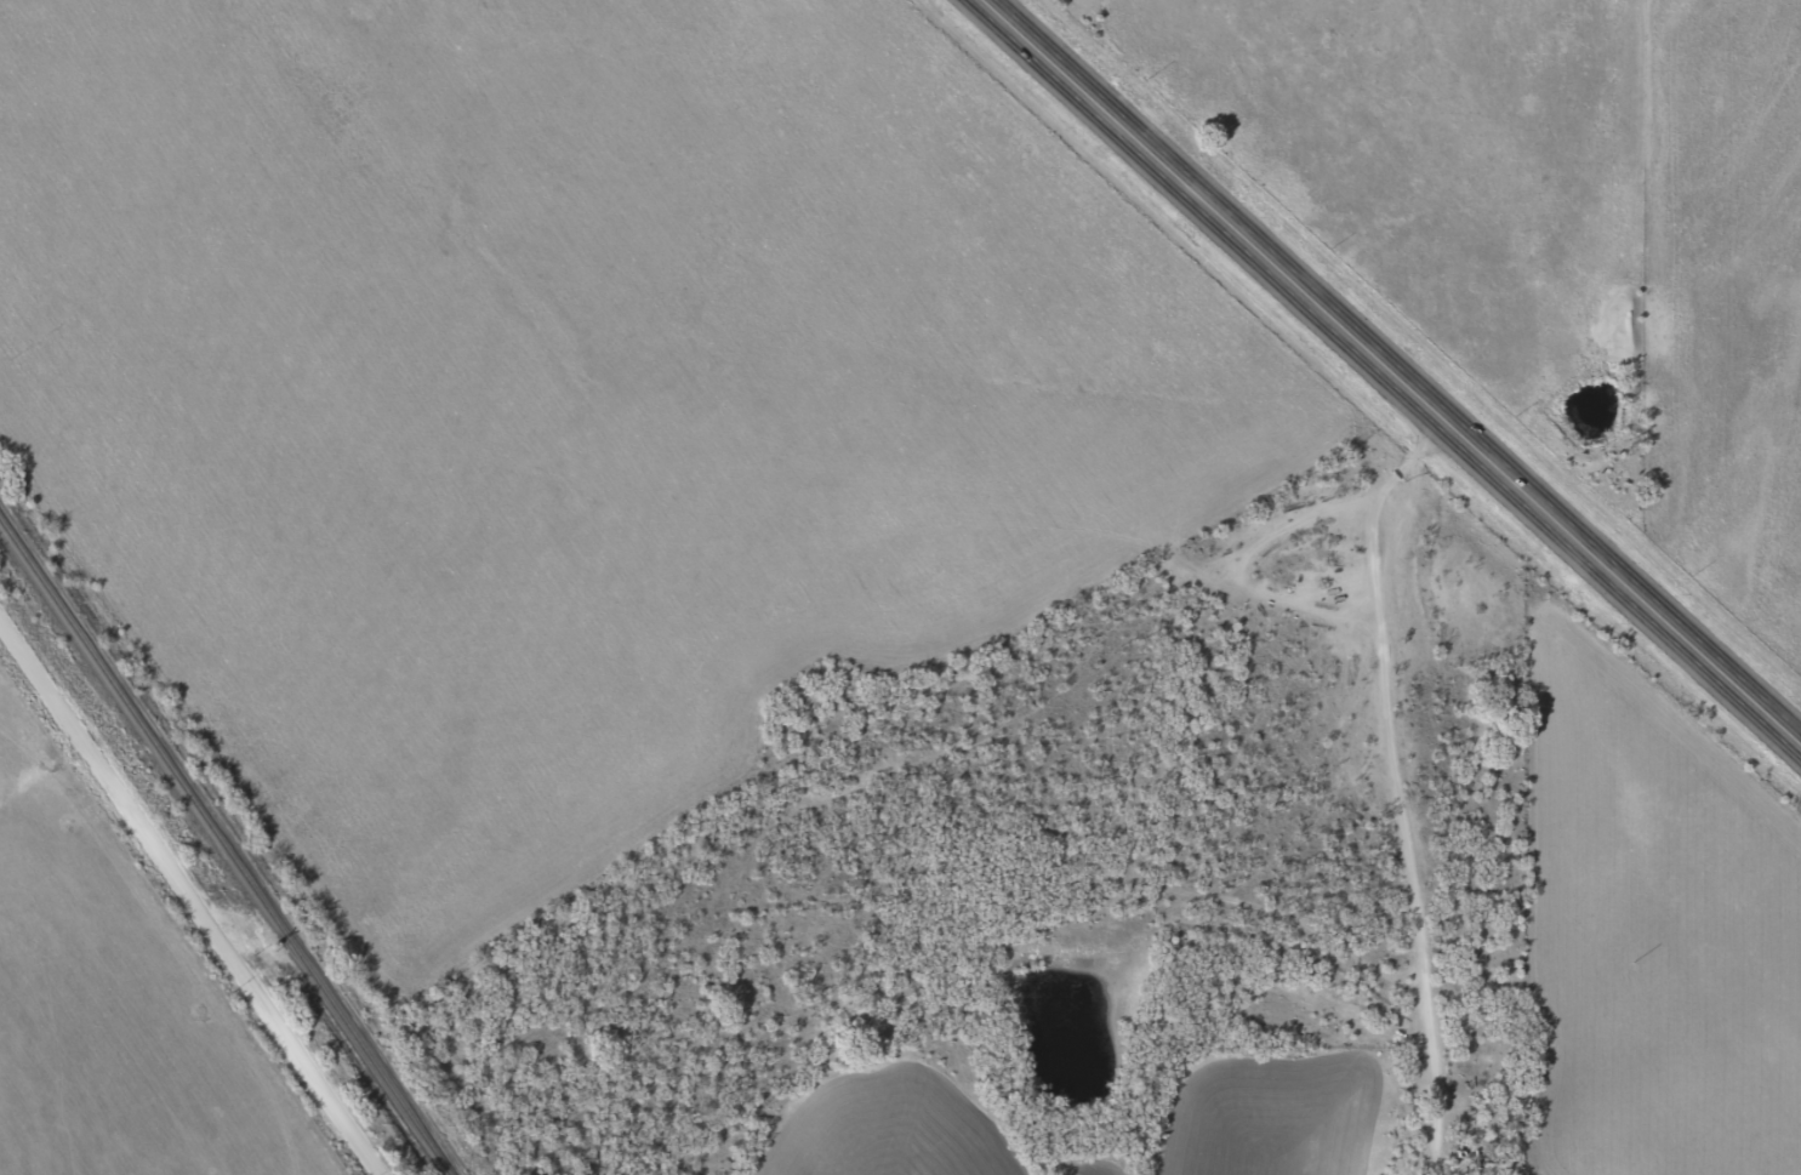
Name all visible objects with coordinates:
road: (1206, 212)
road: (1619, 589)
road: (1220, 654)
road: (1448, 800)
railway: (226, 848)
road: (176, 922)
building: (1484, 1164)

